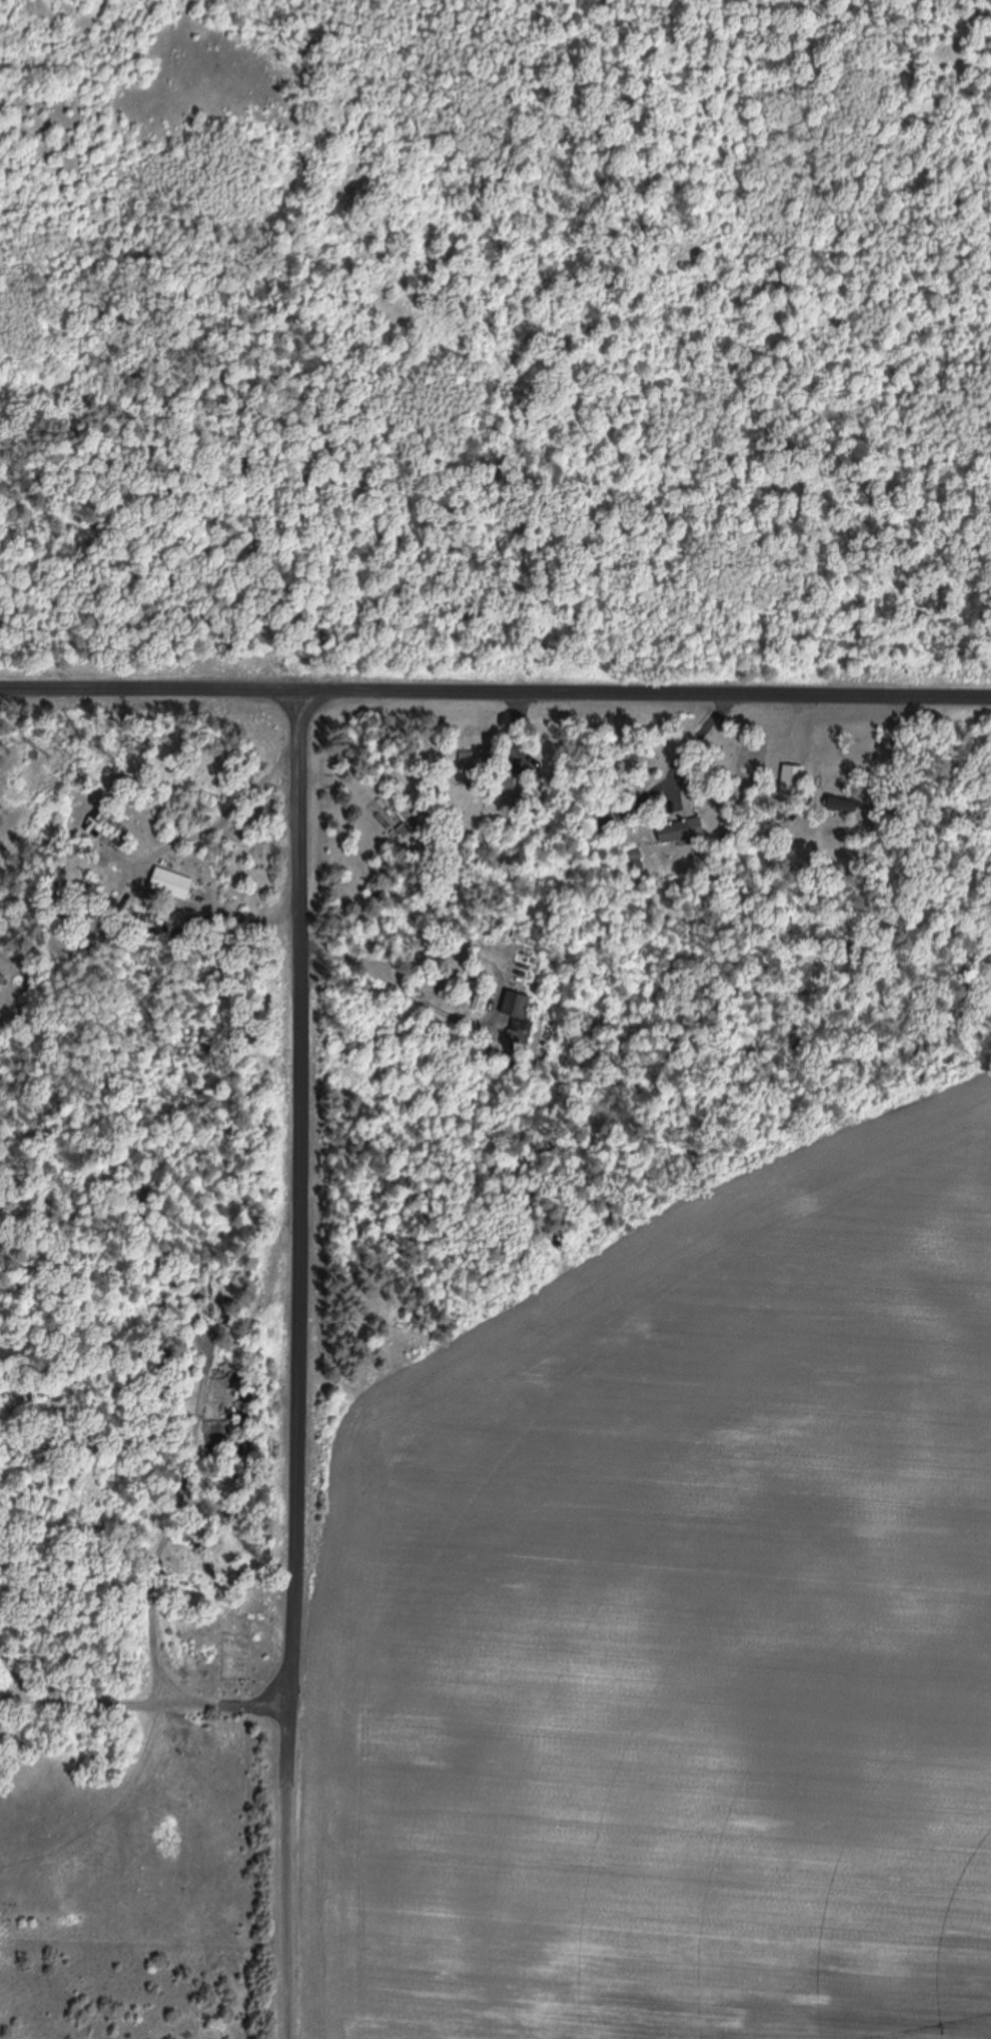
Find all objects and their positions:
road: (495, 683)
building: (478, 760)
building: (794, 783)
building: (516, 785)
building: (843, 805)
building: (605, 820)
building: (683, 831)
building: (105, 832)
building: (173, 884)
building: (175, 931)
building: (3, 979)
building: (483, 994)
building: (519, 1016)
road: (304, 1360)

